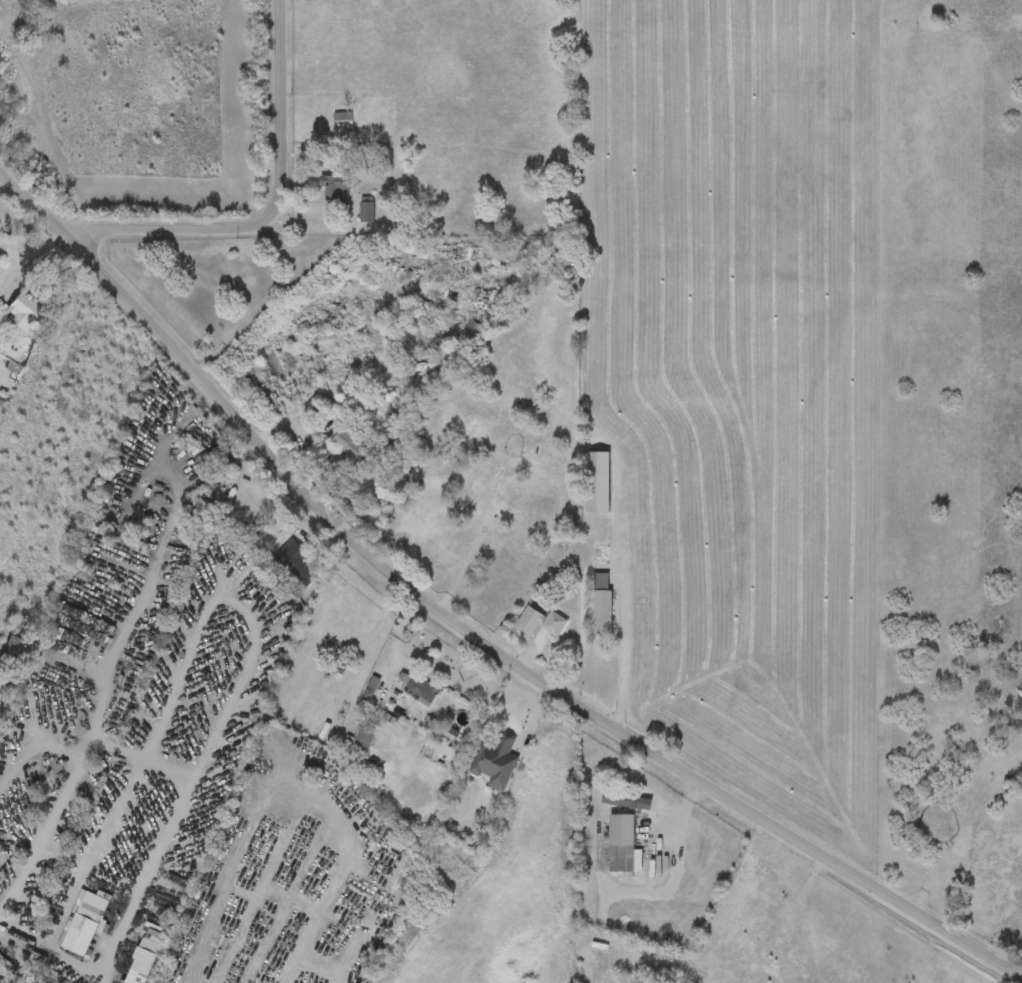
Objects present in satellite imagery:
building: (344, 118)
building: (340, 189)
building: (11, 222)
road: (235, 224)
building: (22, 312)
building: (353, 456)
building: (598, 483)
building: (296, 564)
building: (603, 604)
building: (541, 622)
road: (466, 628)
road: (623, 651)
building: (13, 652)
building: (422, 690)
road: (157, 757)
building: (496, 762)
building: (626, 807)
building: (623, 841)
building: (401, 869)
building: (82, 929)
building: (142, 962)

